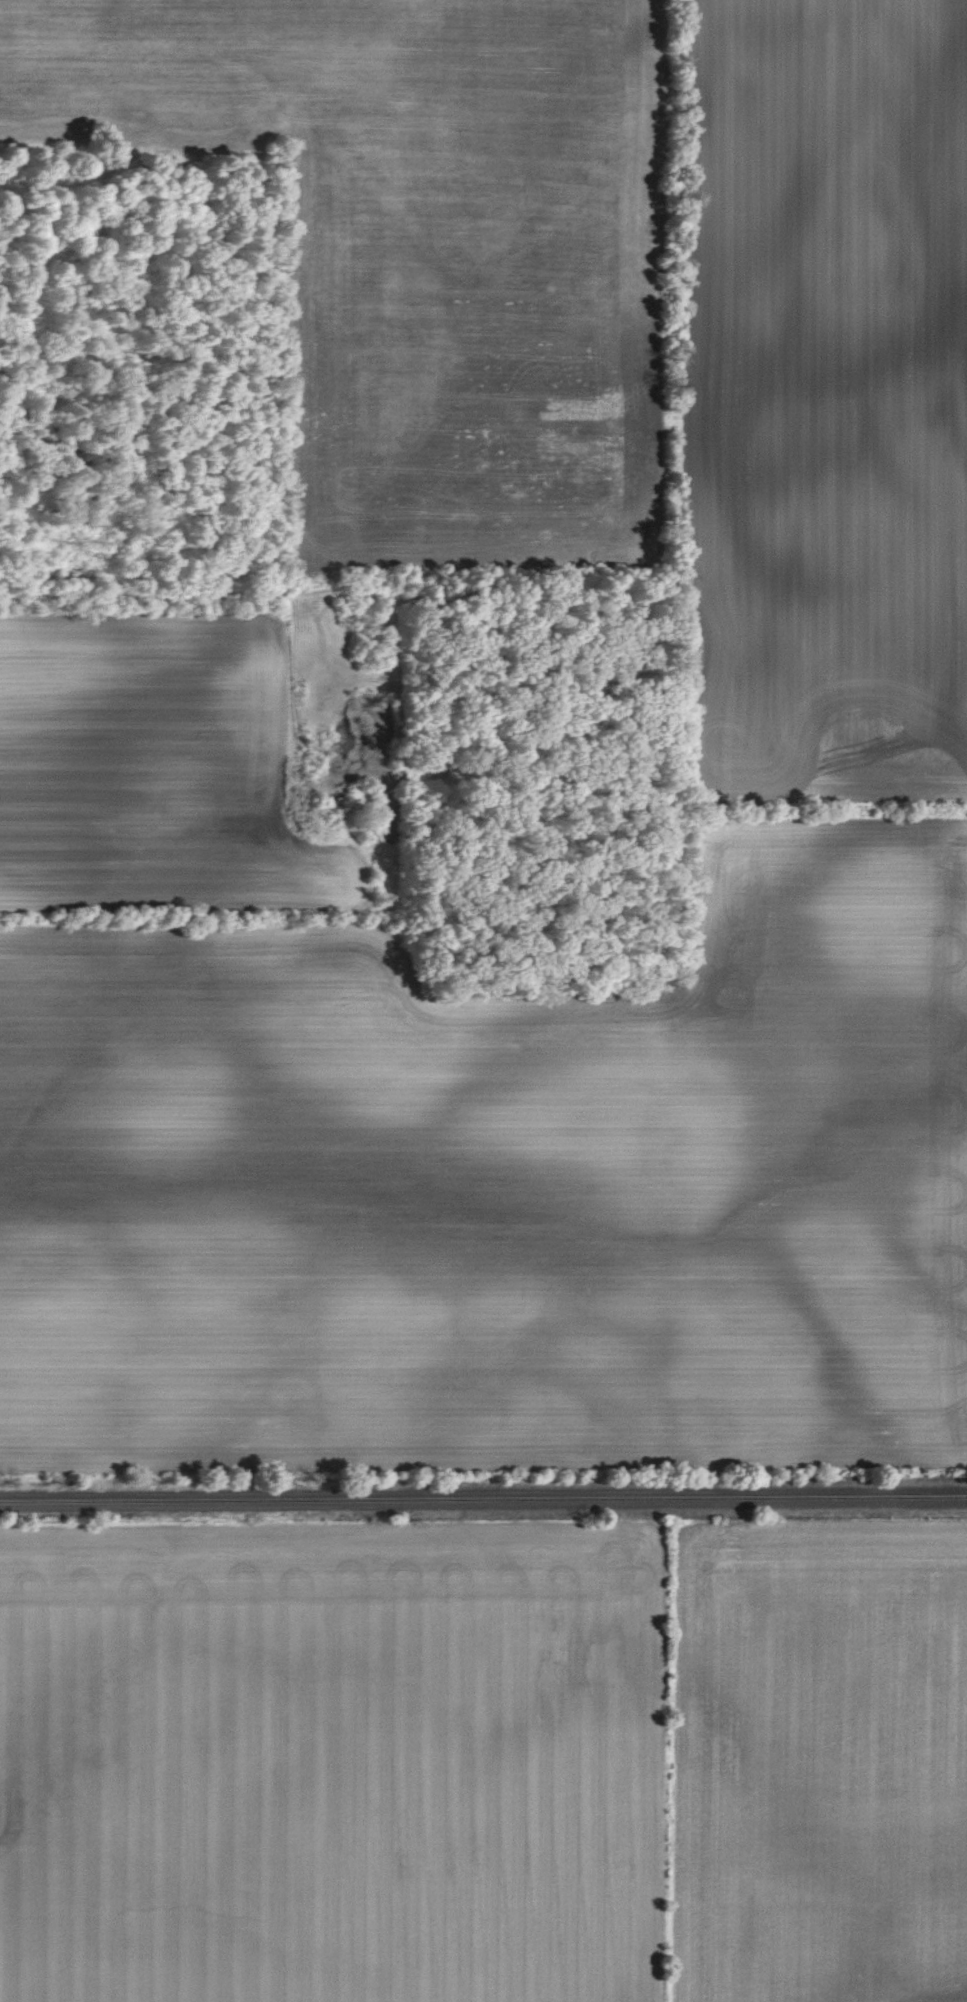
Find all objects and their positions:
road: (261, 595)
railway: (483, 1499)

